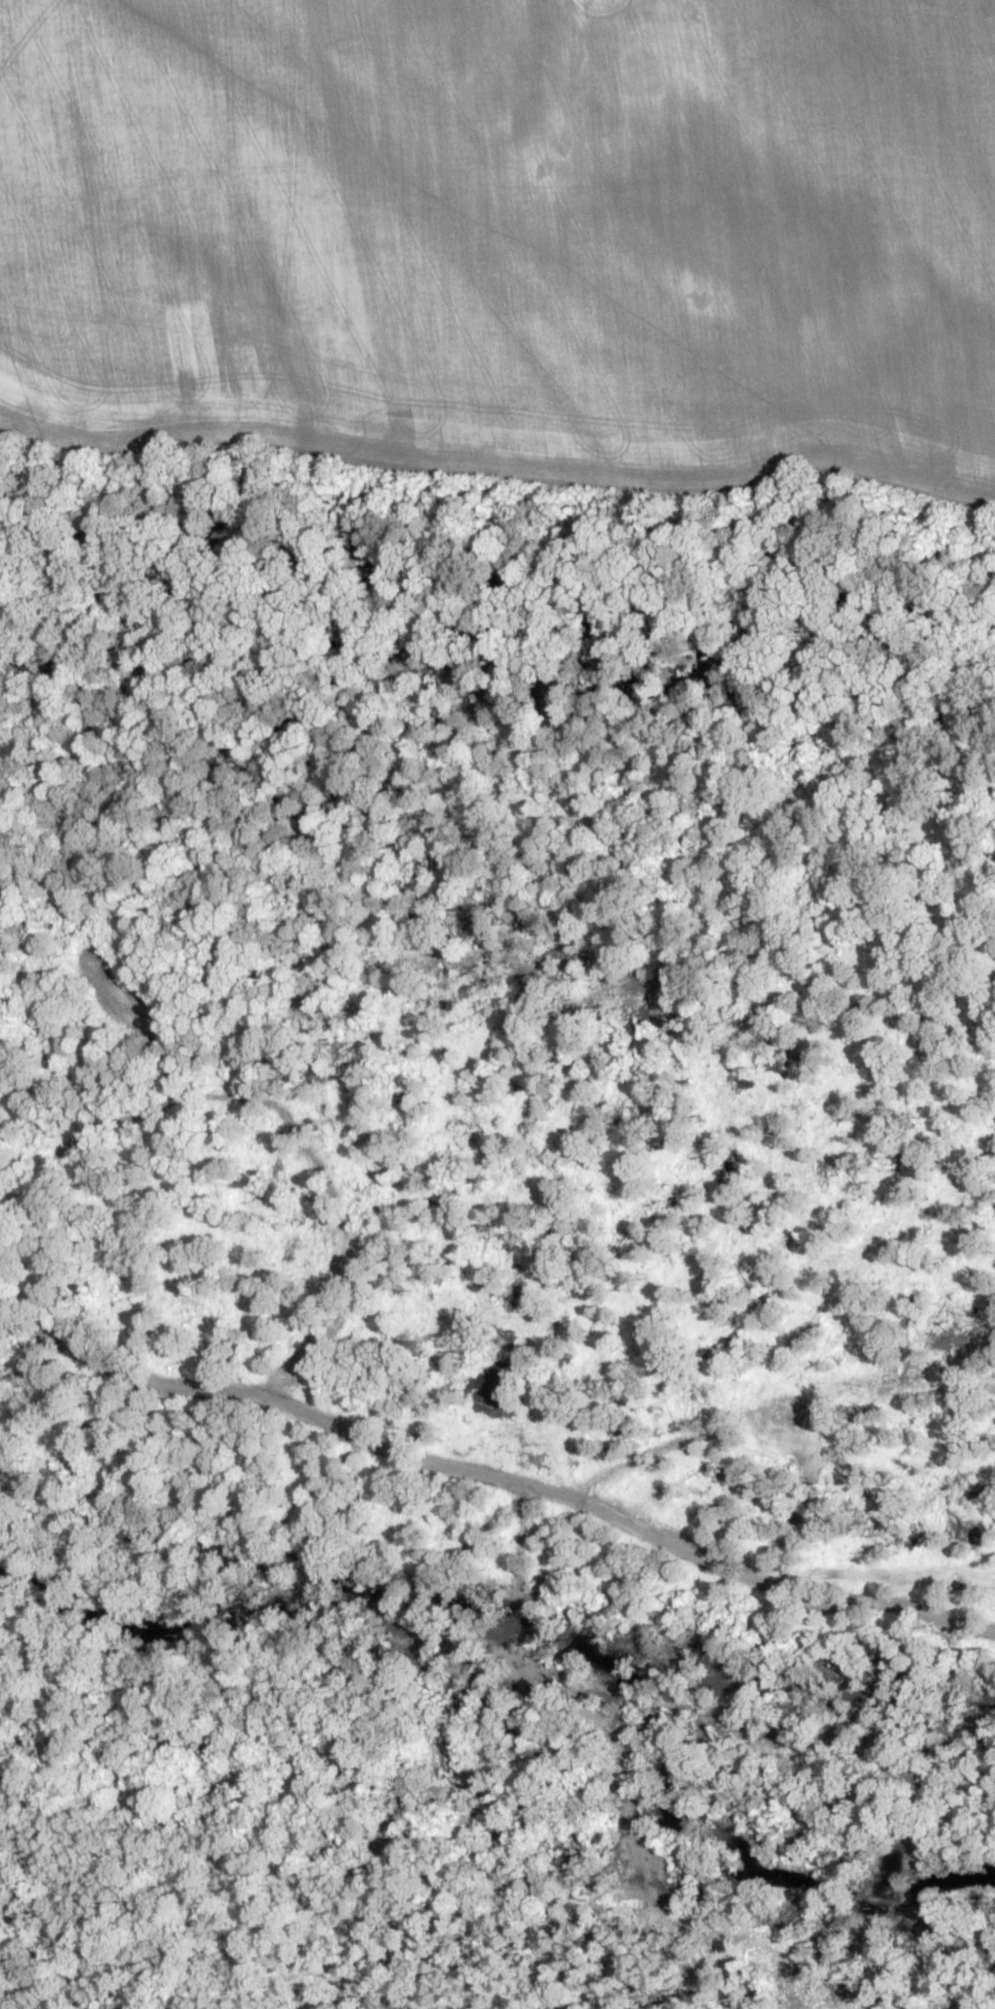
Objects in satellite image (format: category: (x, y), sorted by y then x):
road: (496, 438)

